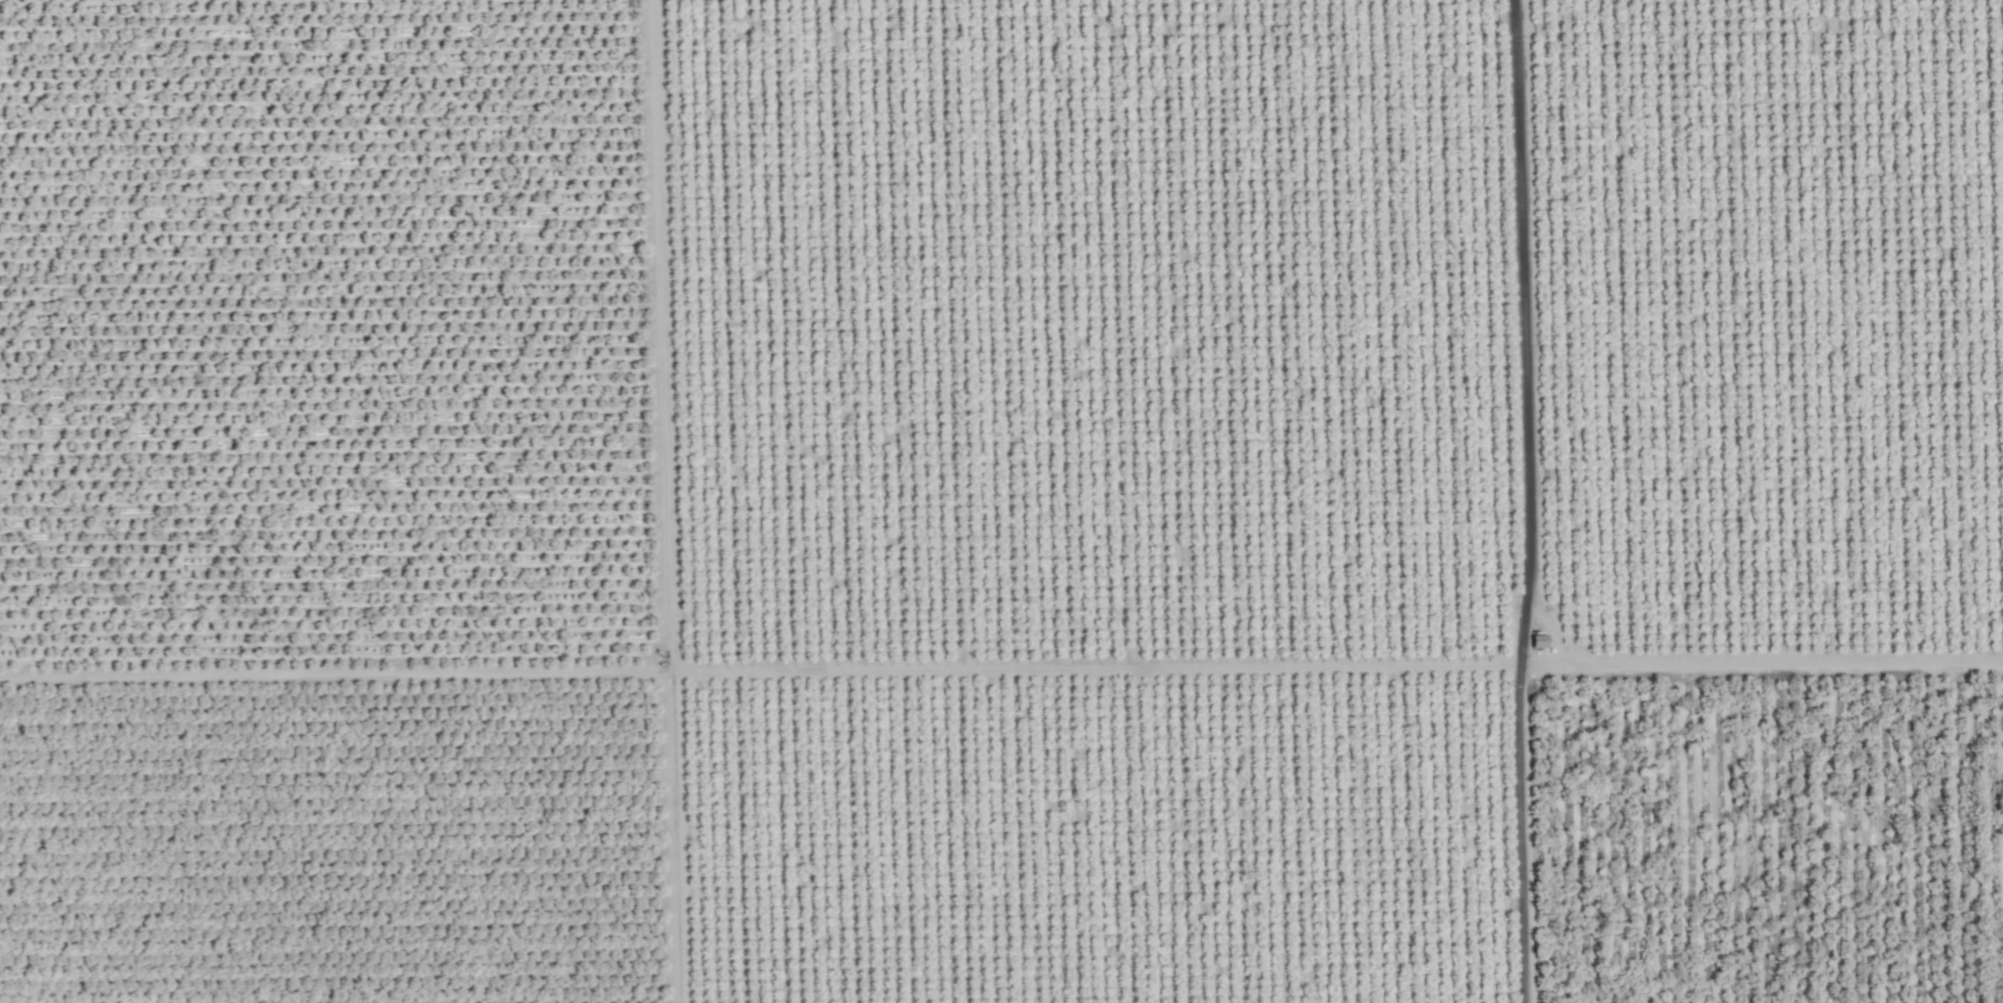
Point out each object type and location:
road: (1523, 333)
building: (1535, 644)
road: (1014, 669)
road: (1514, 834)

